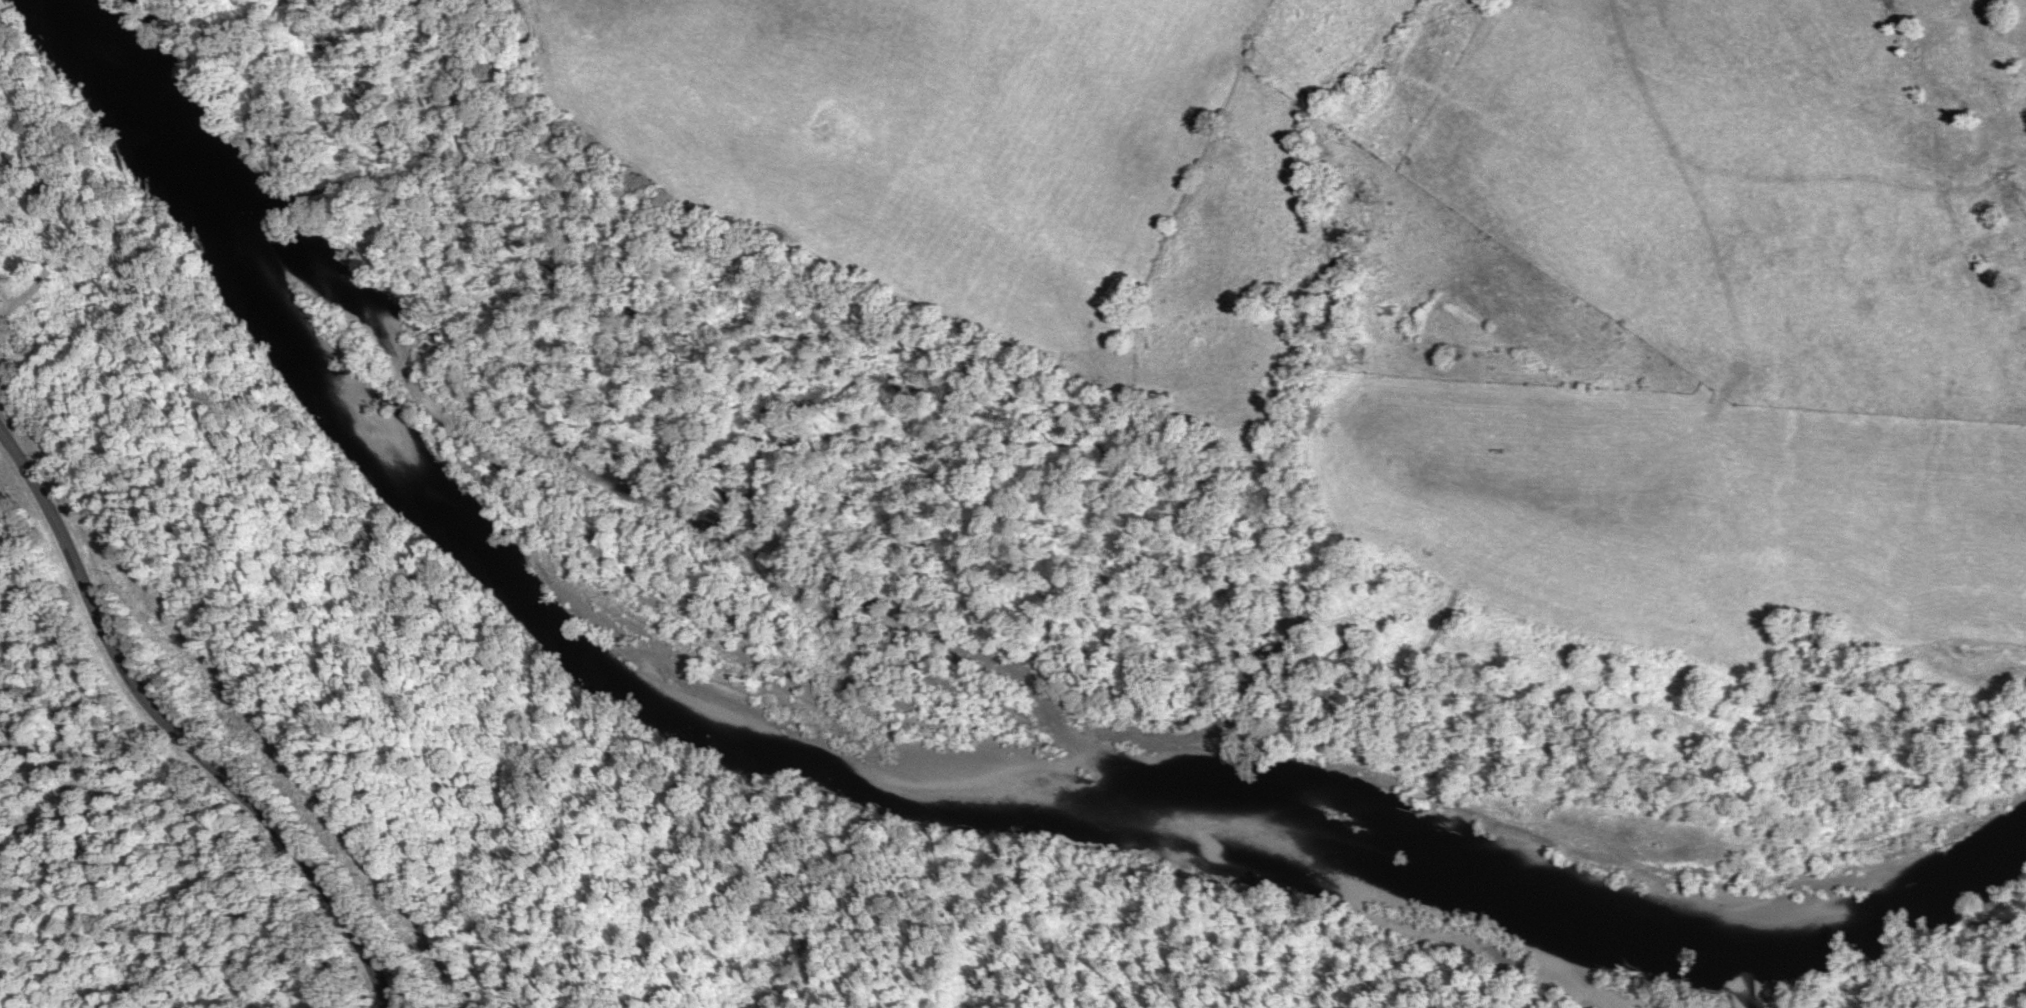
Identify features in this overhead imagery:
road: (50, 223)
road: (1, 423)
road: (176, 730)
river: (883, 782)
river: (1594, 958)

